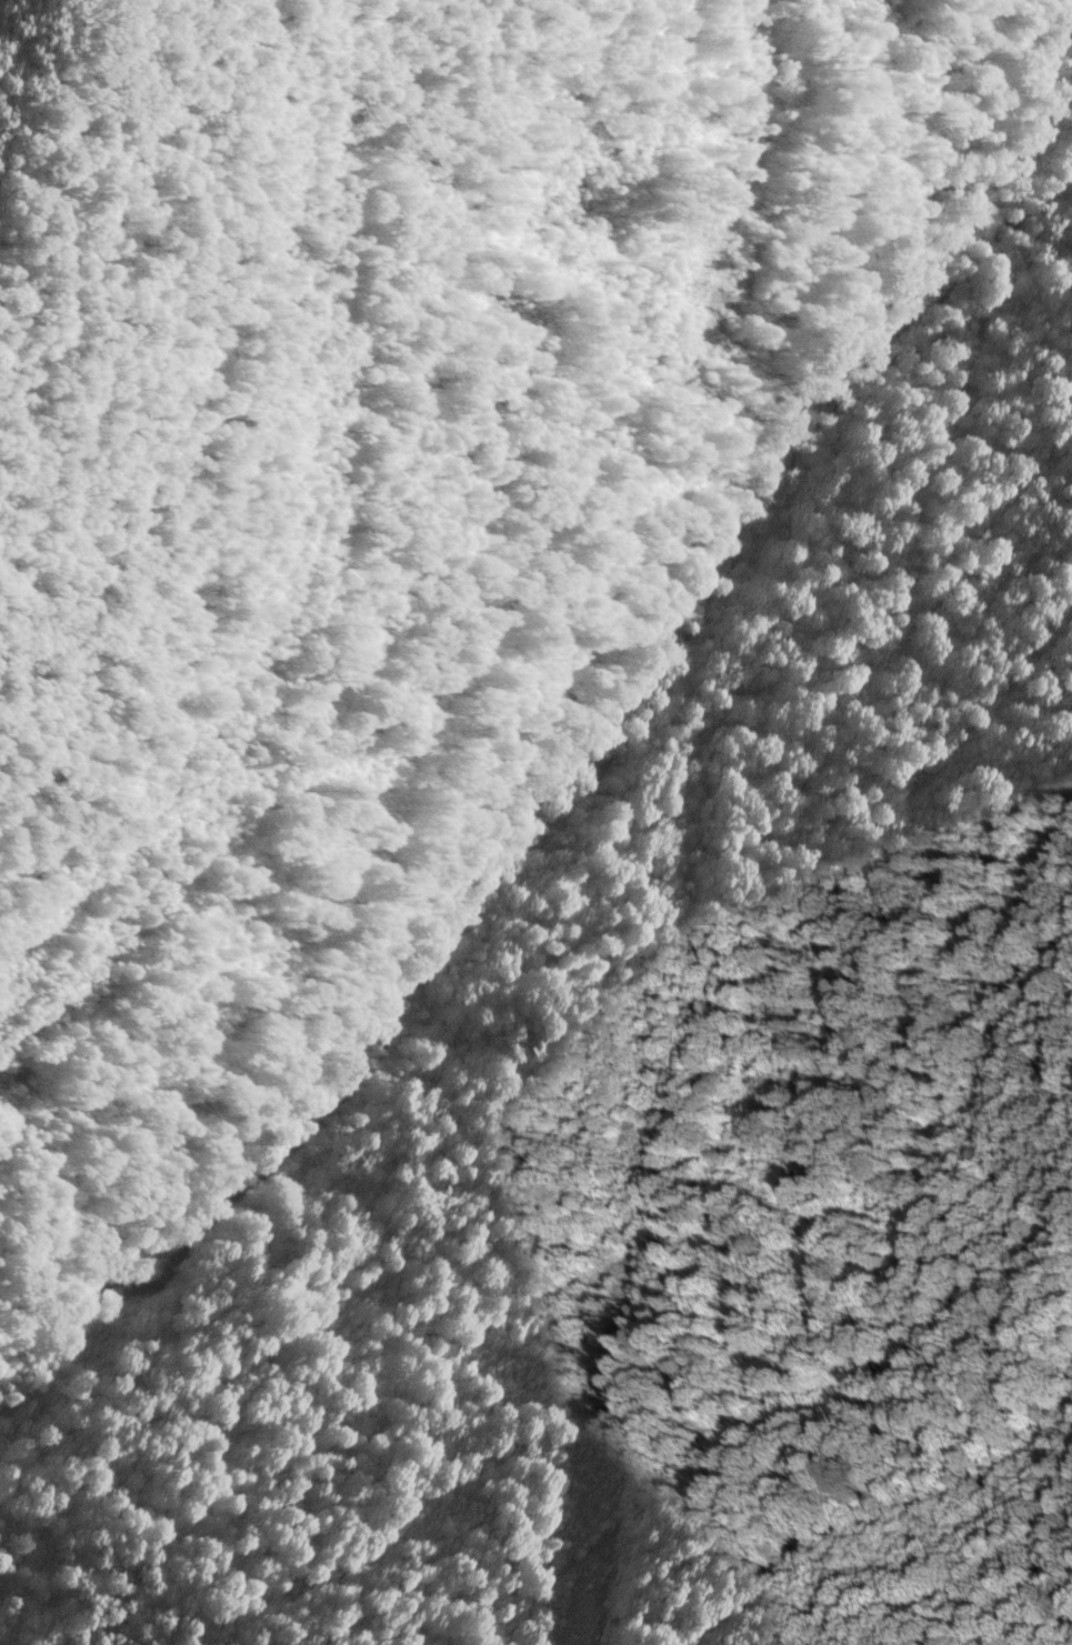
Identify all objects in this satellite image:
road: (529, 776)

